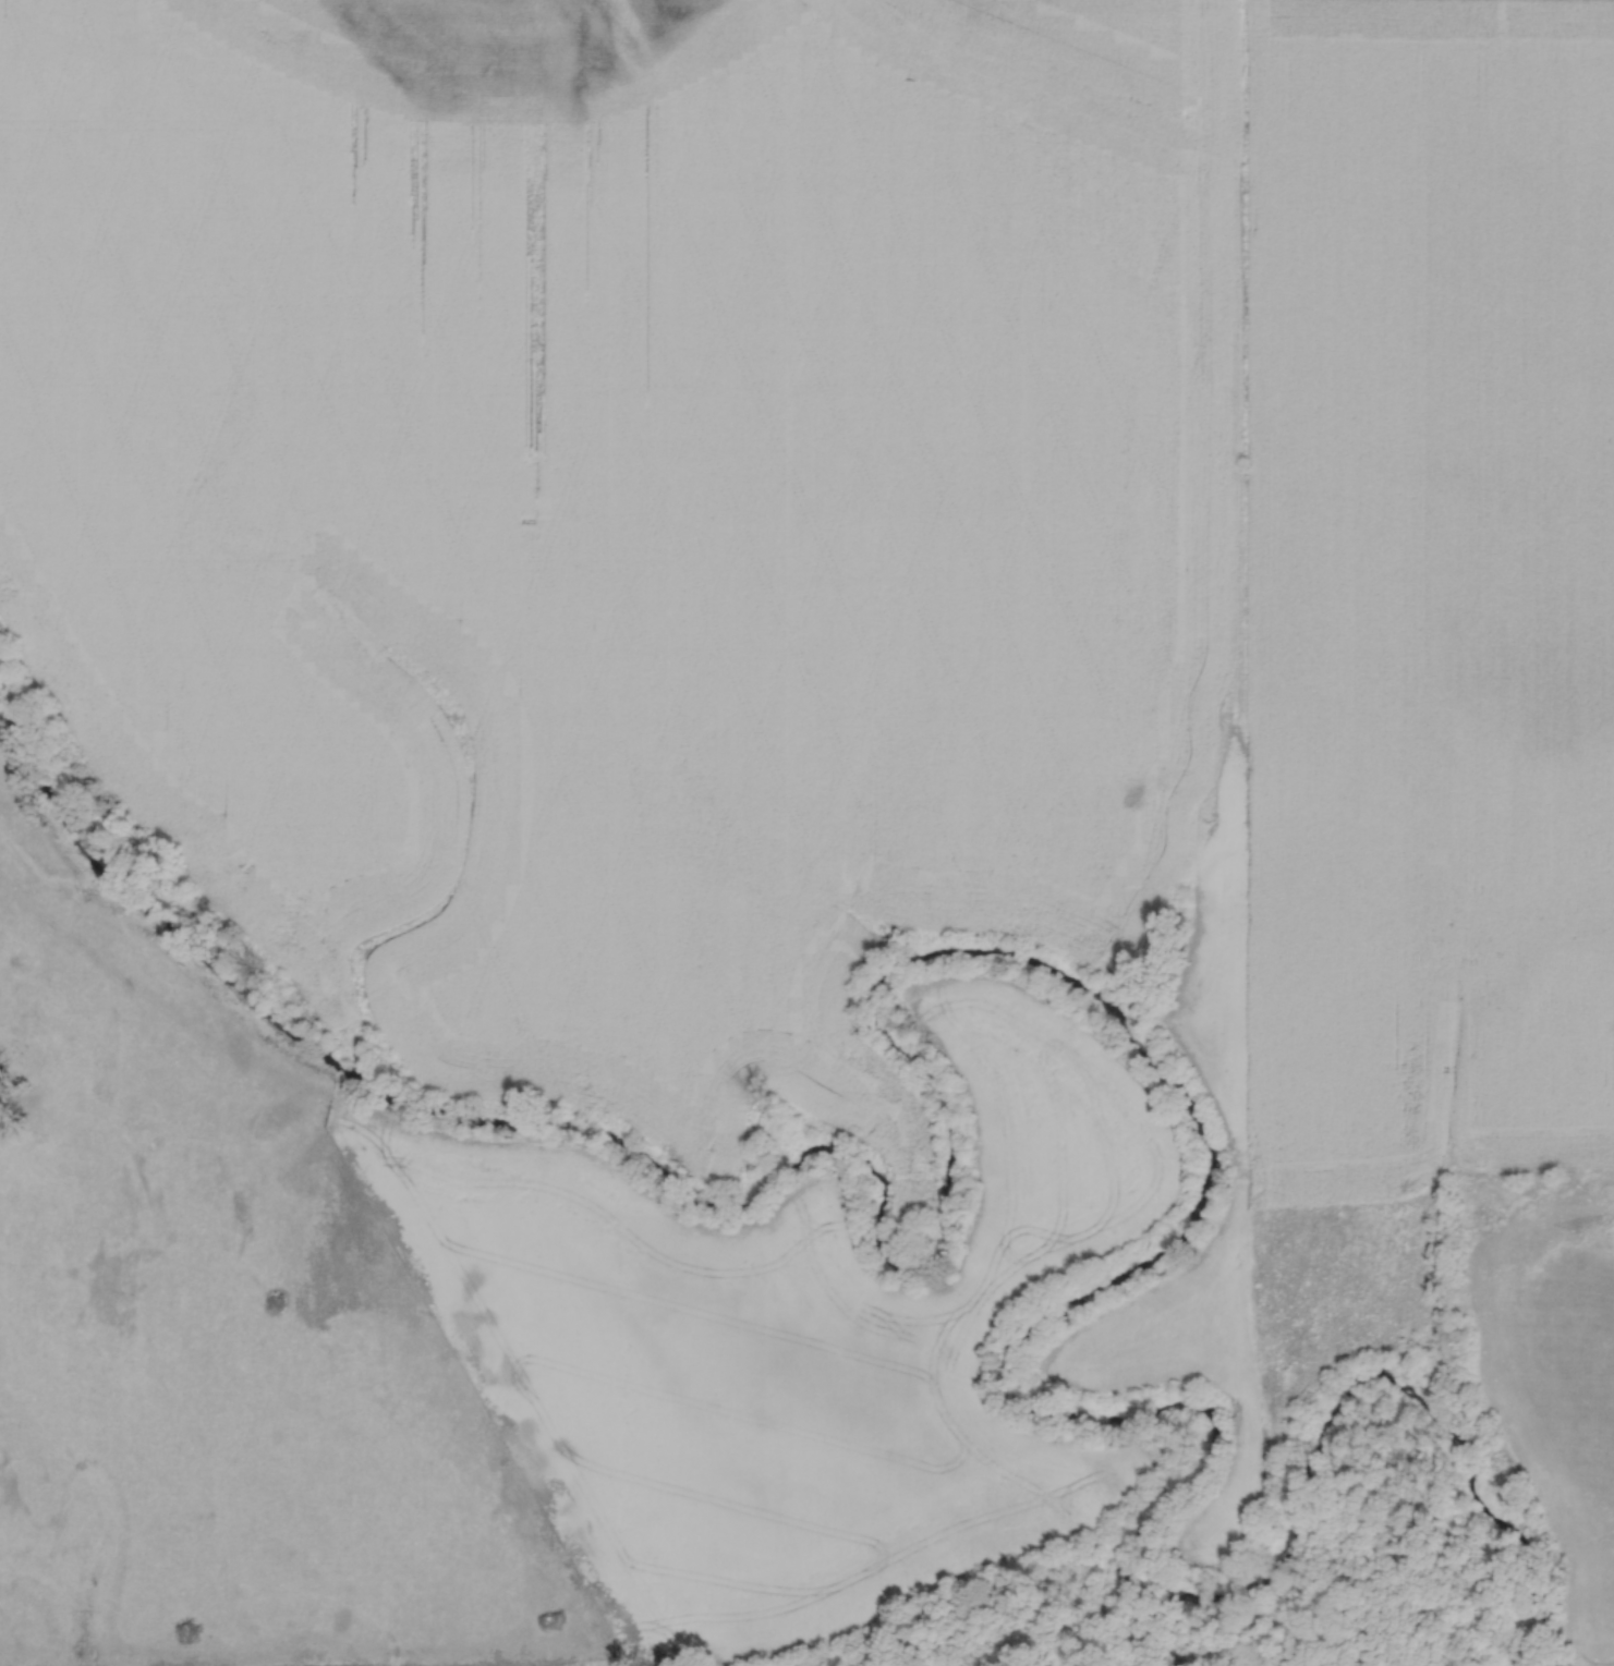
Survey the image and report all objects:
river: (1065, 985)

